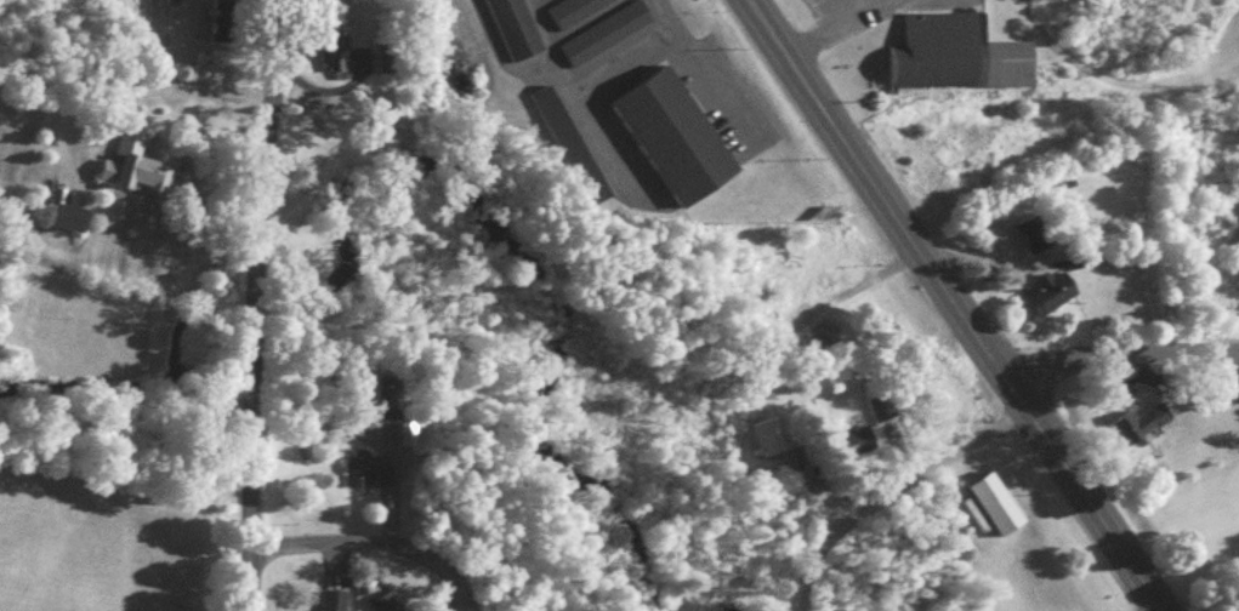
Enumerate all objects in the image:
building: (221, 25)
road: (834, 29)
building: (512, 32)
road: (632, 50)
building: (957, 62)
building: (334, 70)
road: (705, 91)
road: (147, 95)
building: (676, 143)
building: (135, 172)
building: (1035, 240)
building: (1051, 299)
road: (255, 303)
road: (947, 304)
building: (801, 321)
building: (825, 339)
road: (1126, 376)
building: (881, 411)
building: (1130, 434)
building: (767, 442)
building: (856, 447)
building: (798, 459)
building: (369, 475)
road: (902, 504)
building: (996, 510)
road: (375, 547)
building: (333, 604)
building: (387, 605)

